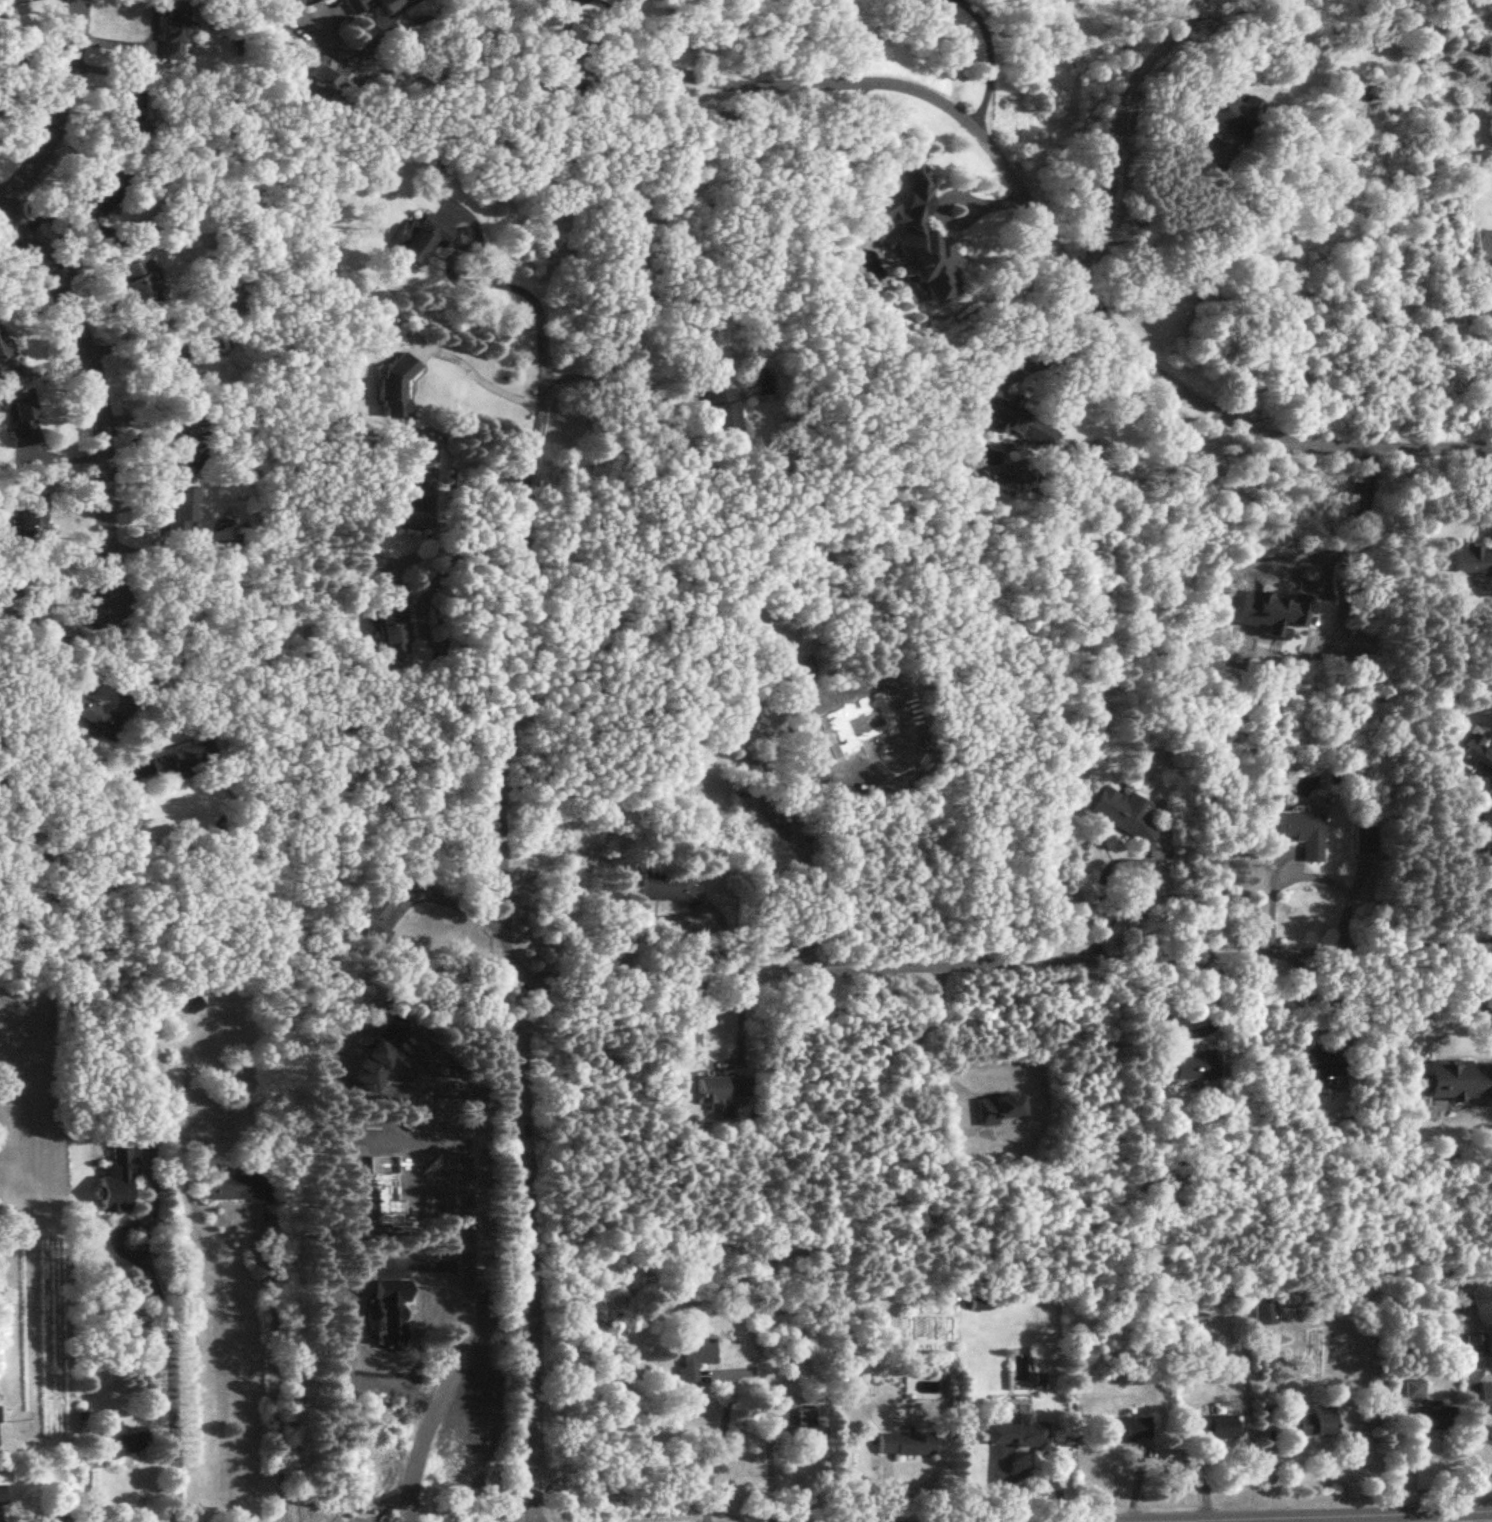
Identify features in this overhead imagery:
building: (901, 0)
building: (293, 2)
building: (355, 5)
building: (391, 6)
road: (428, 17)
road: (617, 27)
building: (173, 30)
road: (565, 33)
road: (138, 47)
road: (990, 59)
road: (427, 73)
road: (58, 110)
building: (1230, 110)
road: (1119, 112)
building: (127, 114)
road: (860, 140)
building: (105, 189)
road: (951, 221)
road: (1041, 223)
road: (1159, 228)
building: (423, 236)
road: (498, 276)
building: (141, 283)
road: (149, 335)
road: (1045, 335)
building: (5, 352)
building: (171, 359)
road: (484, 374)
building: (395, 386)
road: (97, 406)
building: (721, 410)
building: (1012, 415)
building: (19, 417)
building: (178, 440)
building: (182, 505)
building: (365, 537)
road: (1317, 548)
building: (1475, 560)
building: (31, 600)
road: (420, 600)
building: (392, 621)
road: (130, 685)
building: (89, 715)
building: (1477, 755)
building: (183, 758)
building: (1122, 812)
building: (1303, 831)
building: (1364, 835)
road: (1486, 870)
road: (1311, 877)
building: (669, 886)
road: (507, 901)
road: (454, 902)
road: (1116, 906)
building: (375, 918)
road: (932, 965)
road: (1468, 981)
road: (921, 1050)
building: (1325, 1062)
road: (717, 1064)
building: (1188, 1065)
building: (1459, 1079)
road: (434, 1088)
building: (723, 1092)
building: (1000, 1109)
building: (117, 1180)
building: (240, 1184)
building: (787, 1270)
building: (632, 1281)
building: (981, 1305)
building: (1266, 1312)
road: (468, 1330)
building: (1476, 1345)
building: (693, 1358)
road: (172, 1375)
road: (276, 1382)
building: (924, 1387)
building: (1414, 1388)
building: (1485, 1394)
building: (1439, 1416)
building: (1318, 1421)
road: (1474, 1423)
building: (1218, 1426)
building: (1125, 1428)
building: (1017, 1433)
road: (716, 1436)
building: (117, 1440)
building: (808, 1442)
building: (904, 1443)
road: (1137, 1483)
road: (85, 1487)
building: (1, 1493)
road: (1324, 1516)

